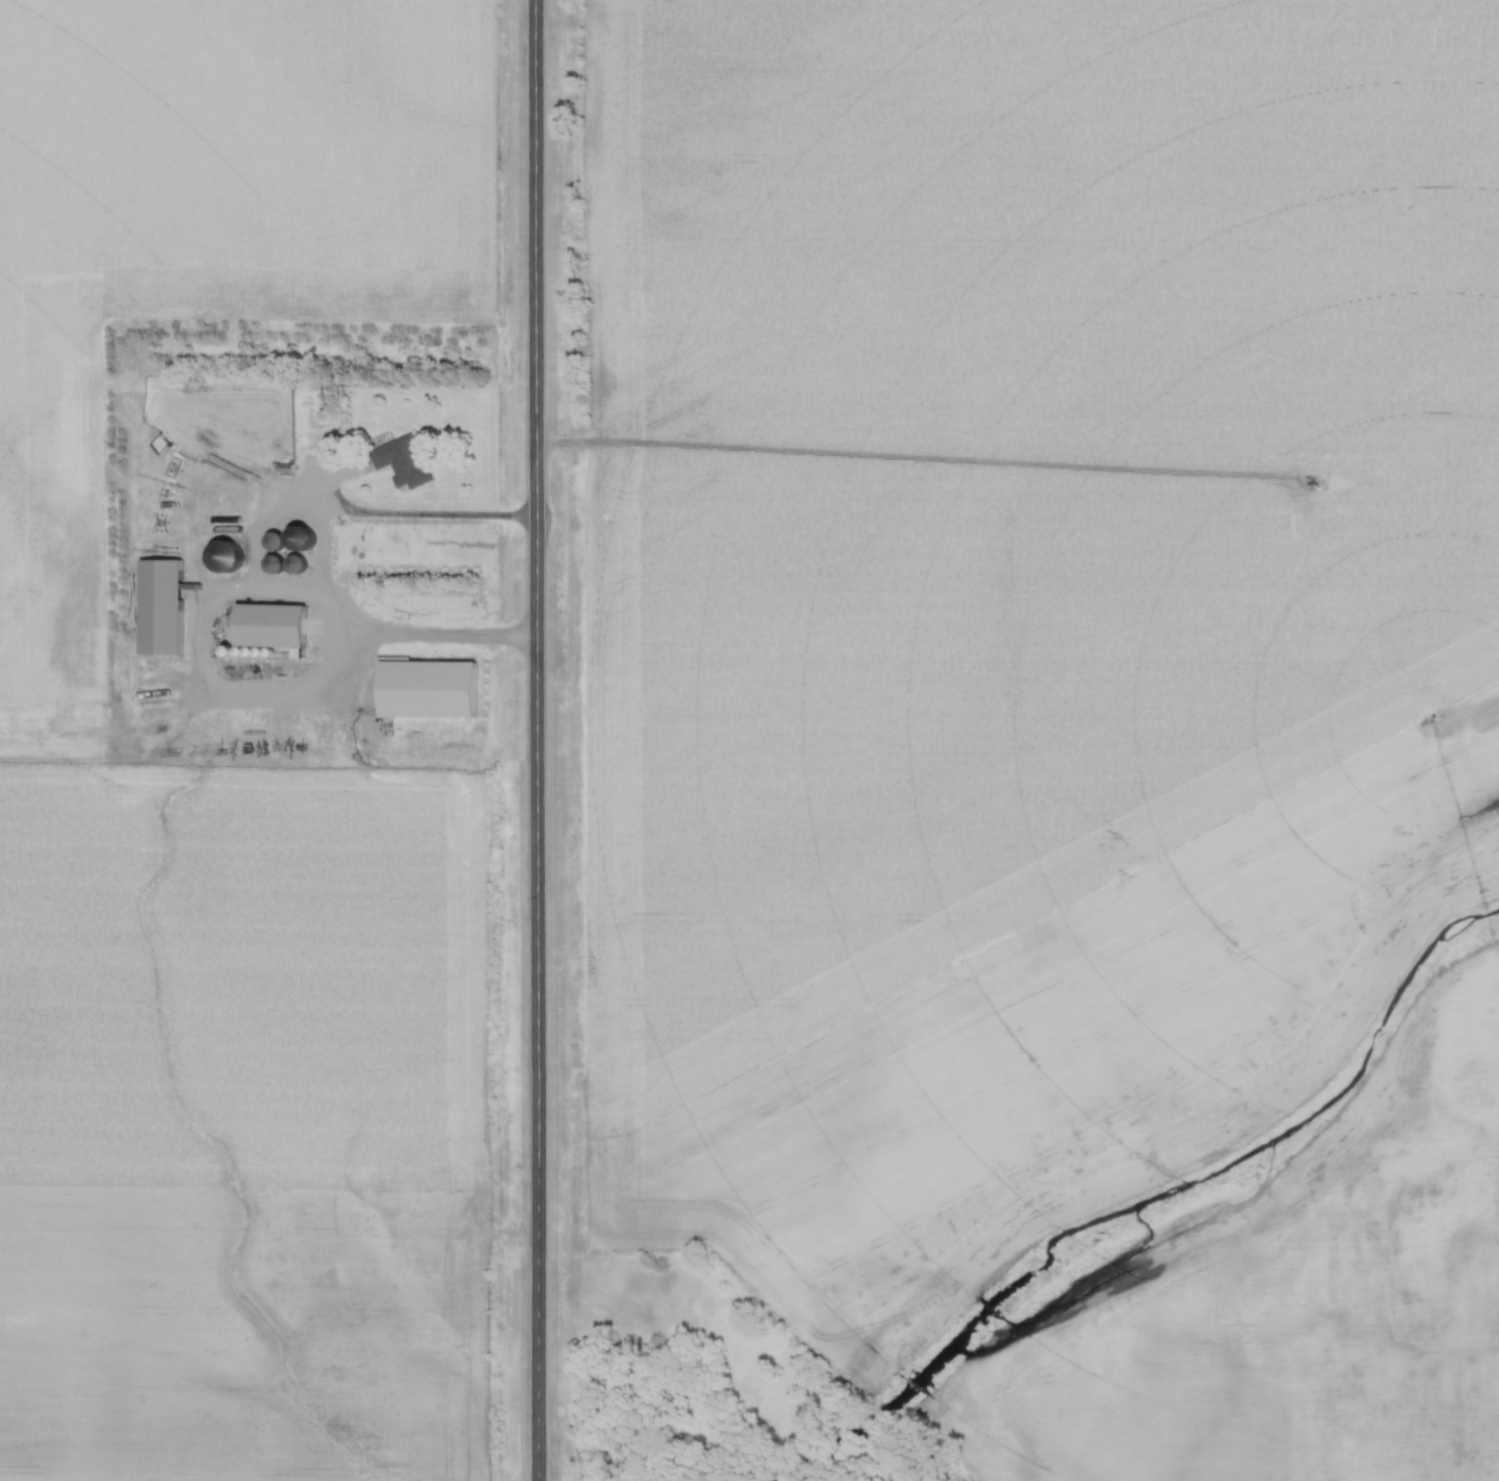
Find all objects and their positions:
building: (400, 461)
building: (302, 536)
building: (274, 538)
building: (224, 554)
building: (295, 561)
building: (274, 562)
road: (233, 595)
building: (263, 625)
road: (539, 740)
building: (1468, 1320)
building: (1472, 1391)
building: (1388, 1469)
road: (1437, 1469)

